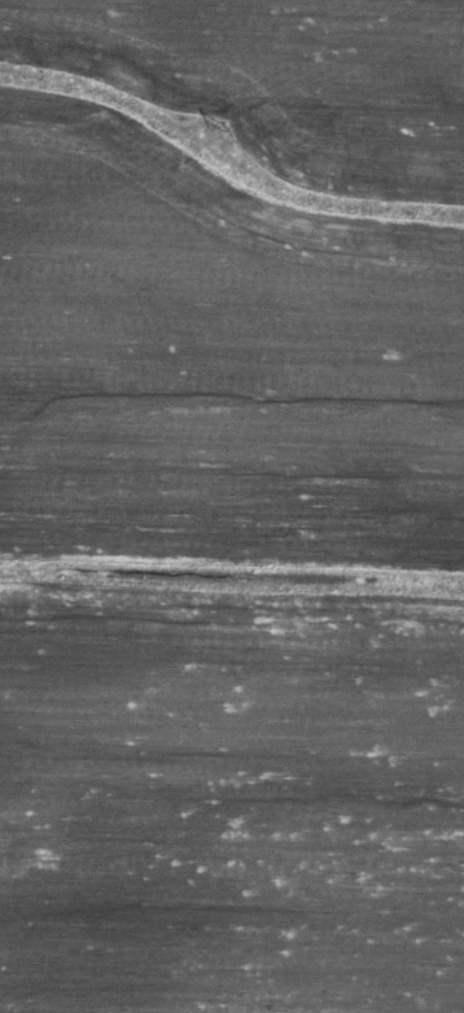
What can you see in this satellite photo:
power tower: (222, 129)

